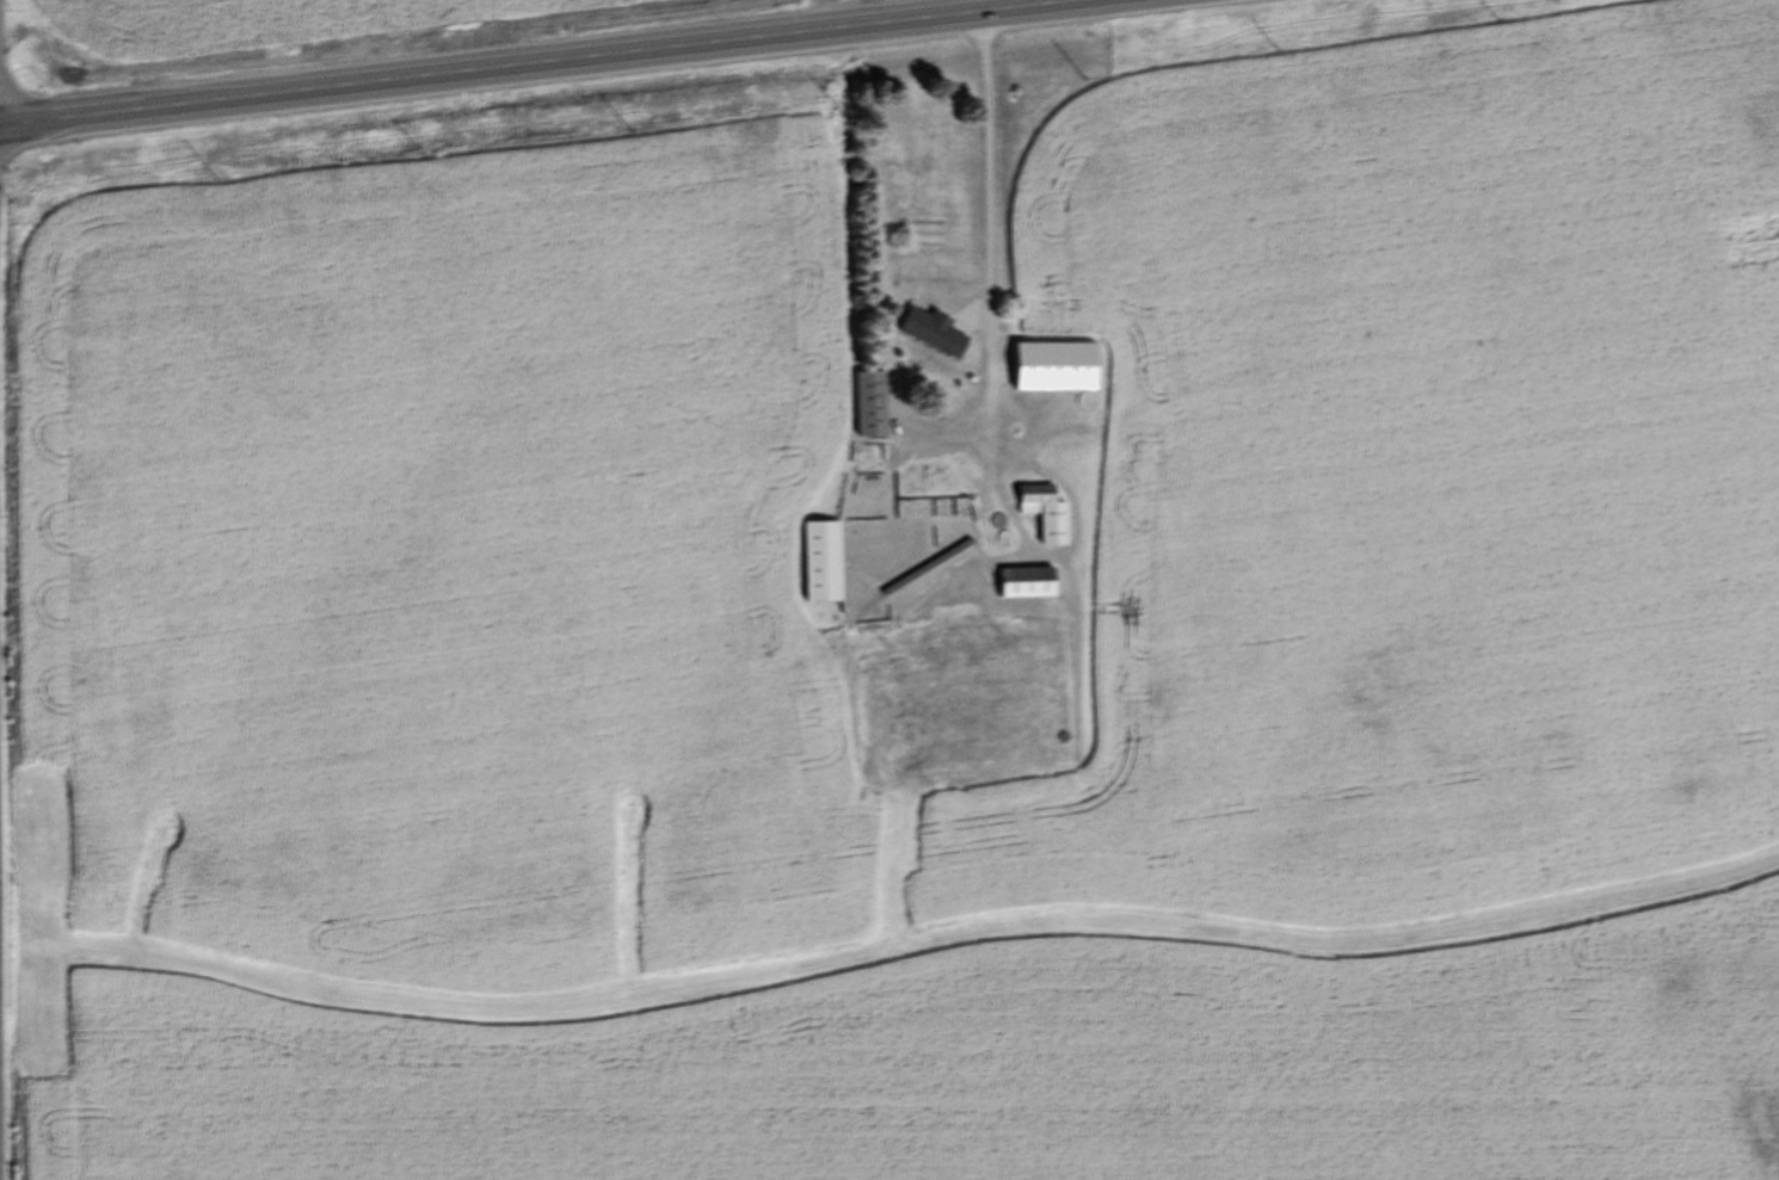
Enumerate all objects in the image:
road: (531, 62)
road: (990, 152)
building: (927, 333)
building: (1048, 365)
building: (863, 403)
building: (1038, 512)
building: (969, 519)
building: (987, 540)
building: (813, 561)
building: (1018, 581)

